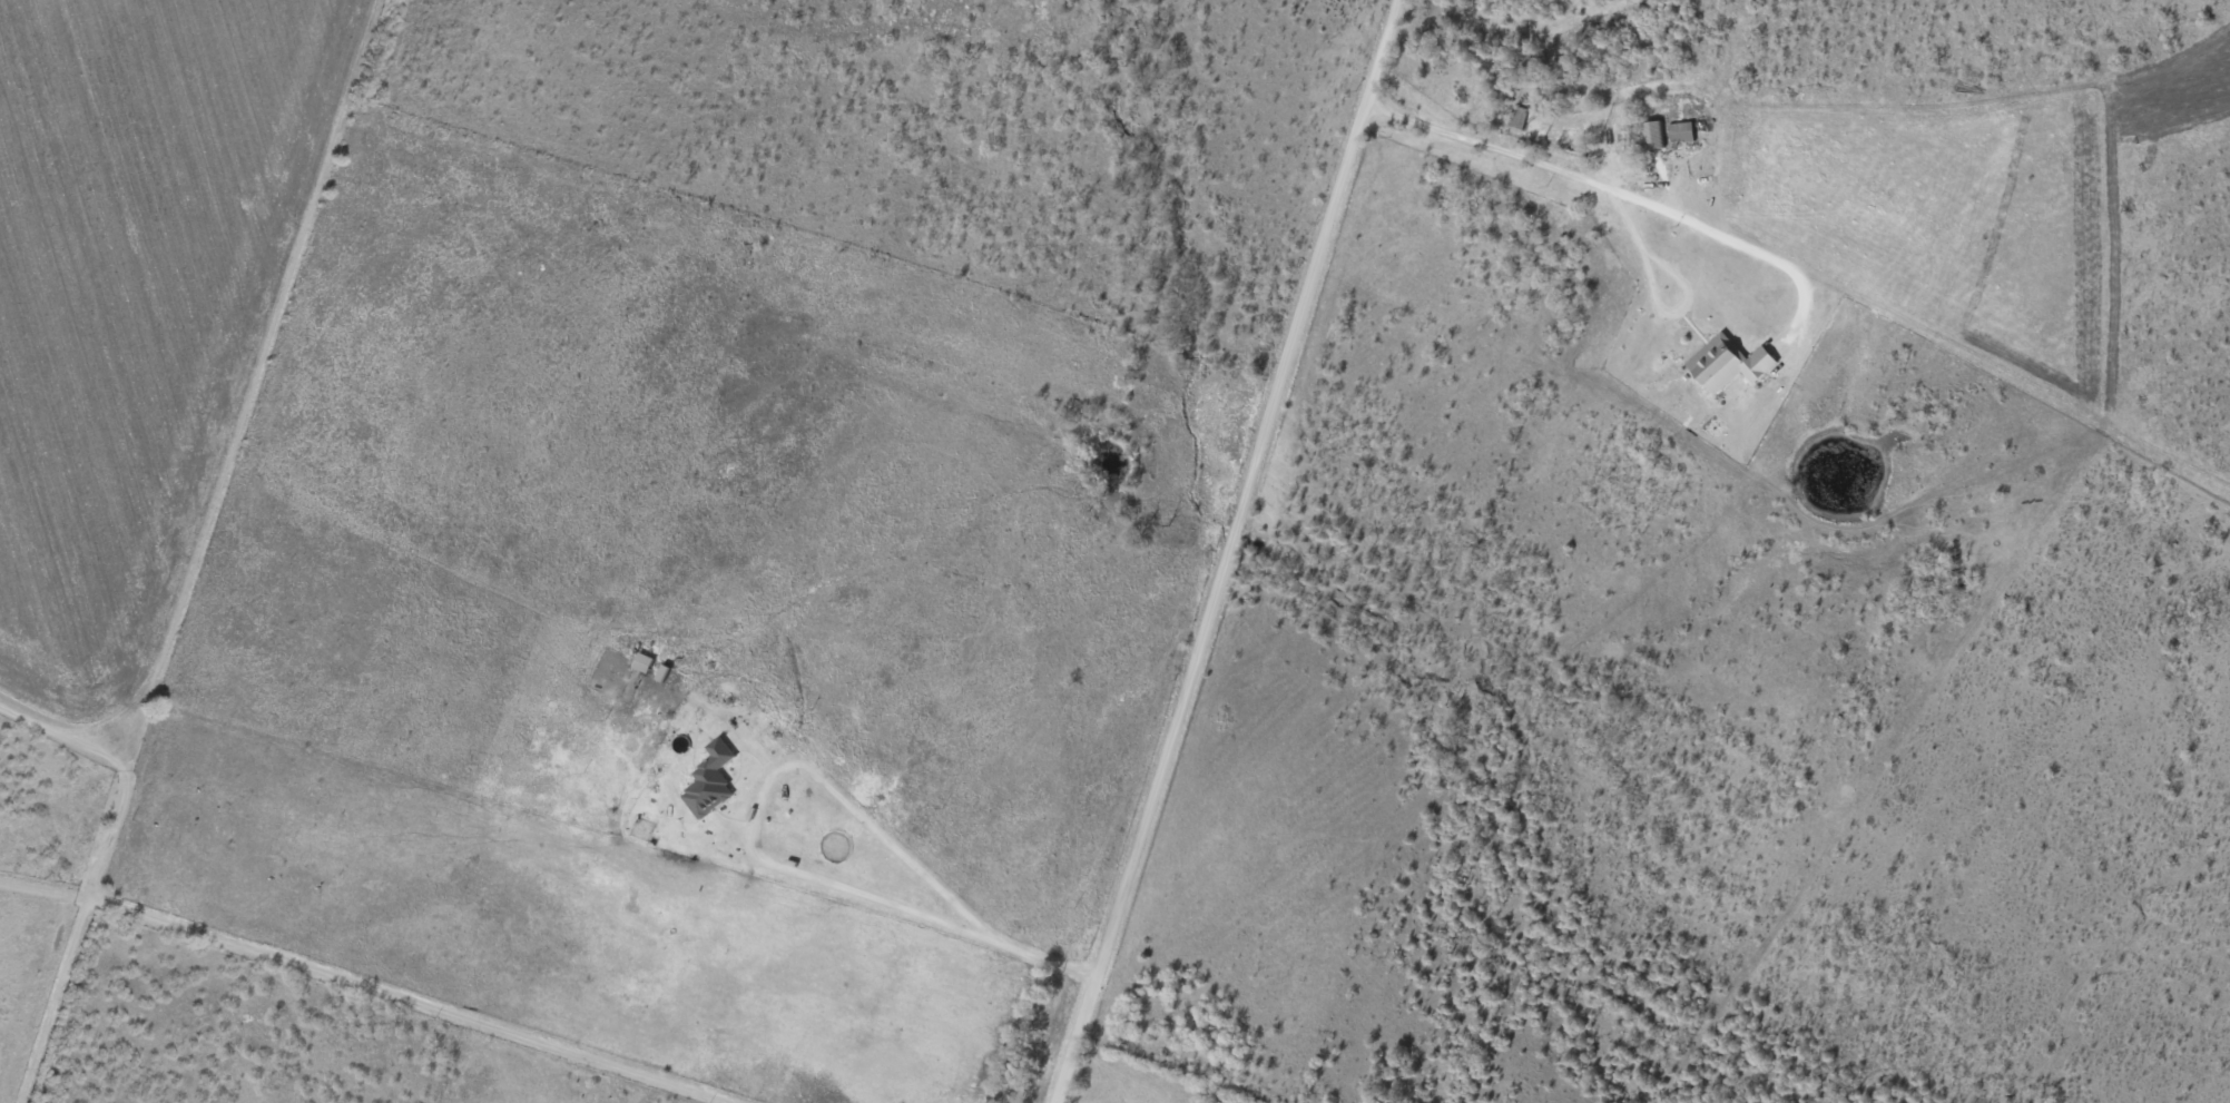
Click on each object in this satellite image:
building: (1681, 131)
building: (1652, 135)
road: (1622, 195)
road: (1224, 550)
road: (749, 847)
road: (279, 962)
road: (1130, 1066)

